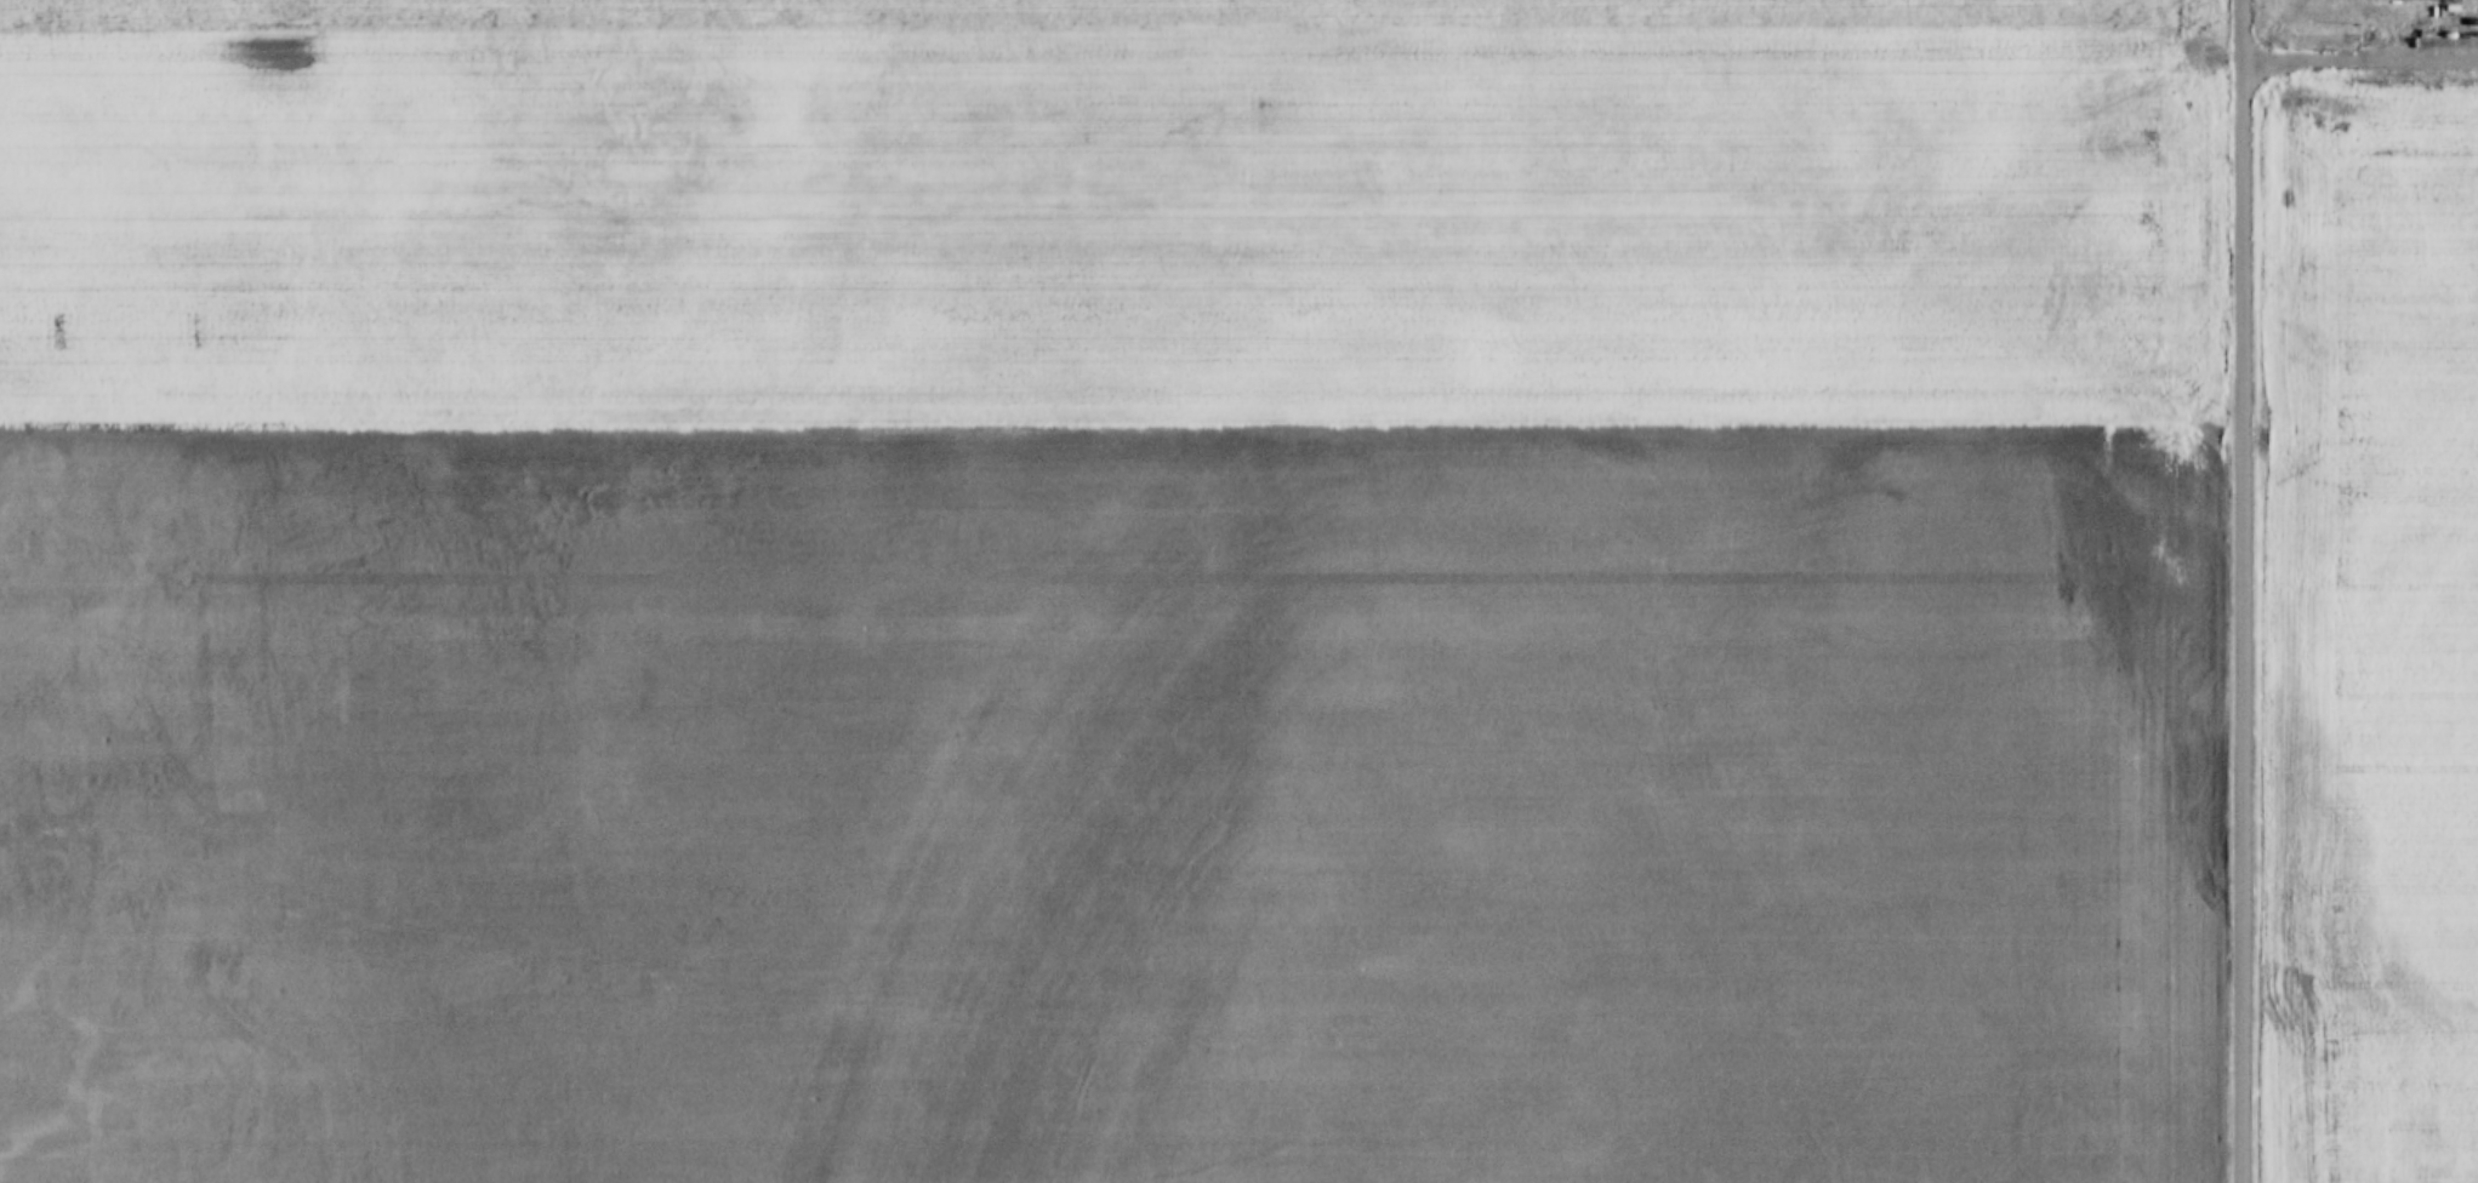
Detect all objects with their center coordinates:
road: (2241, 30)
road: (2359, 62)
road: (2241, 622)

